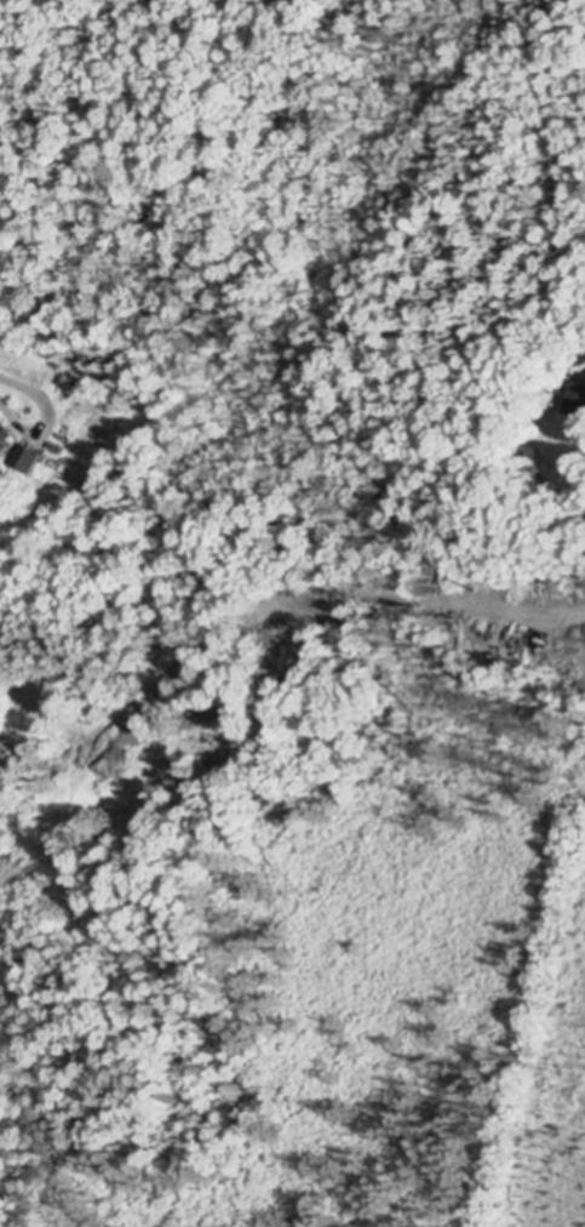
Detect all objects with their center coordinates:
building: (581, 360)
building: (79, 378)
building: (574, 403)
building: (7, 445)
building: (30, 461)

